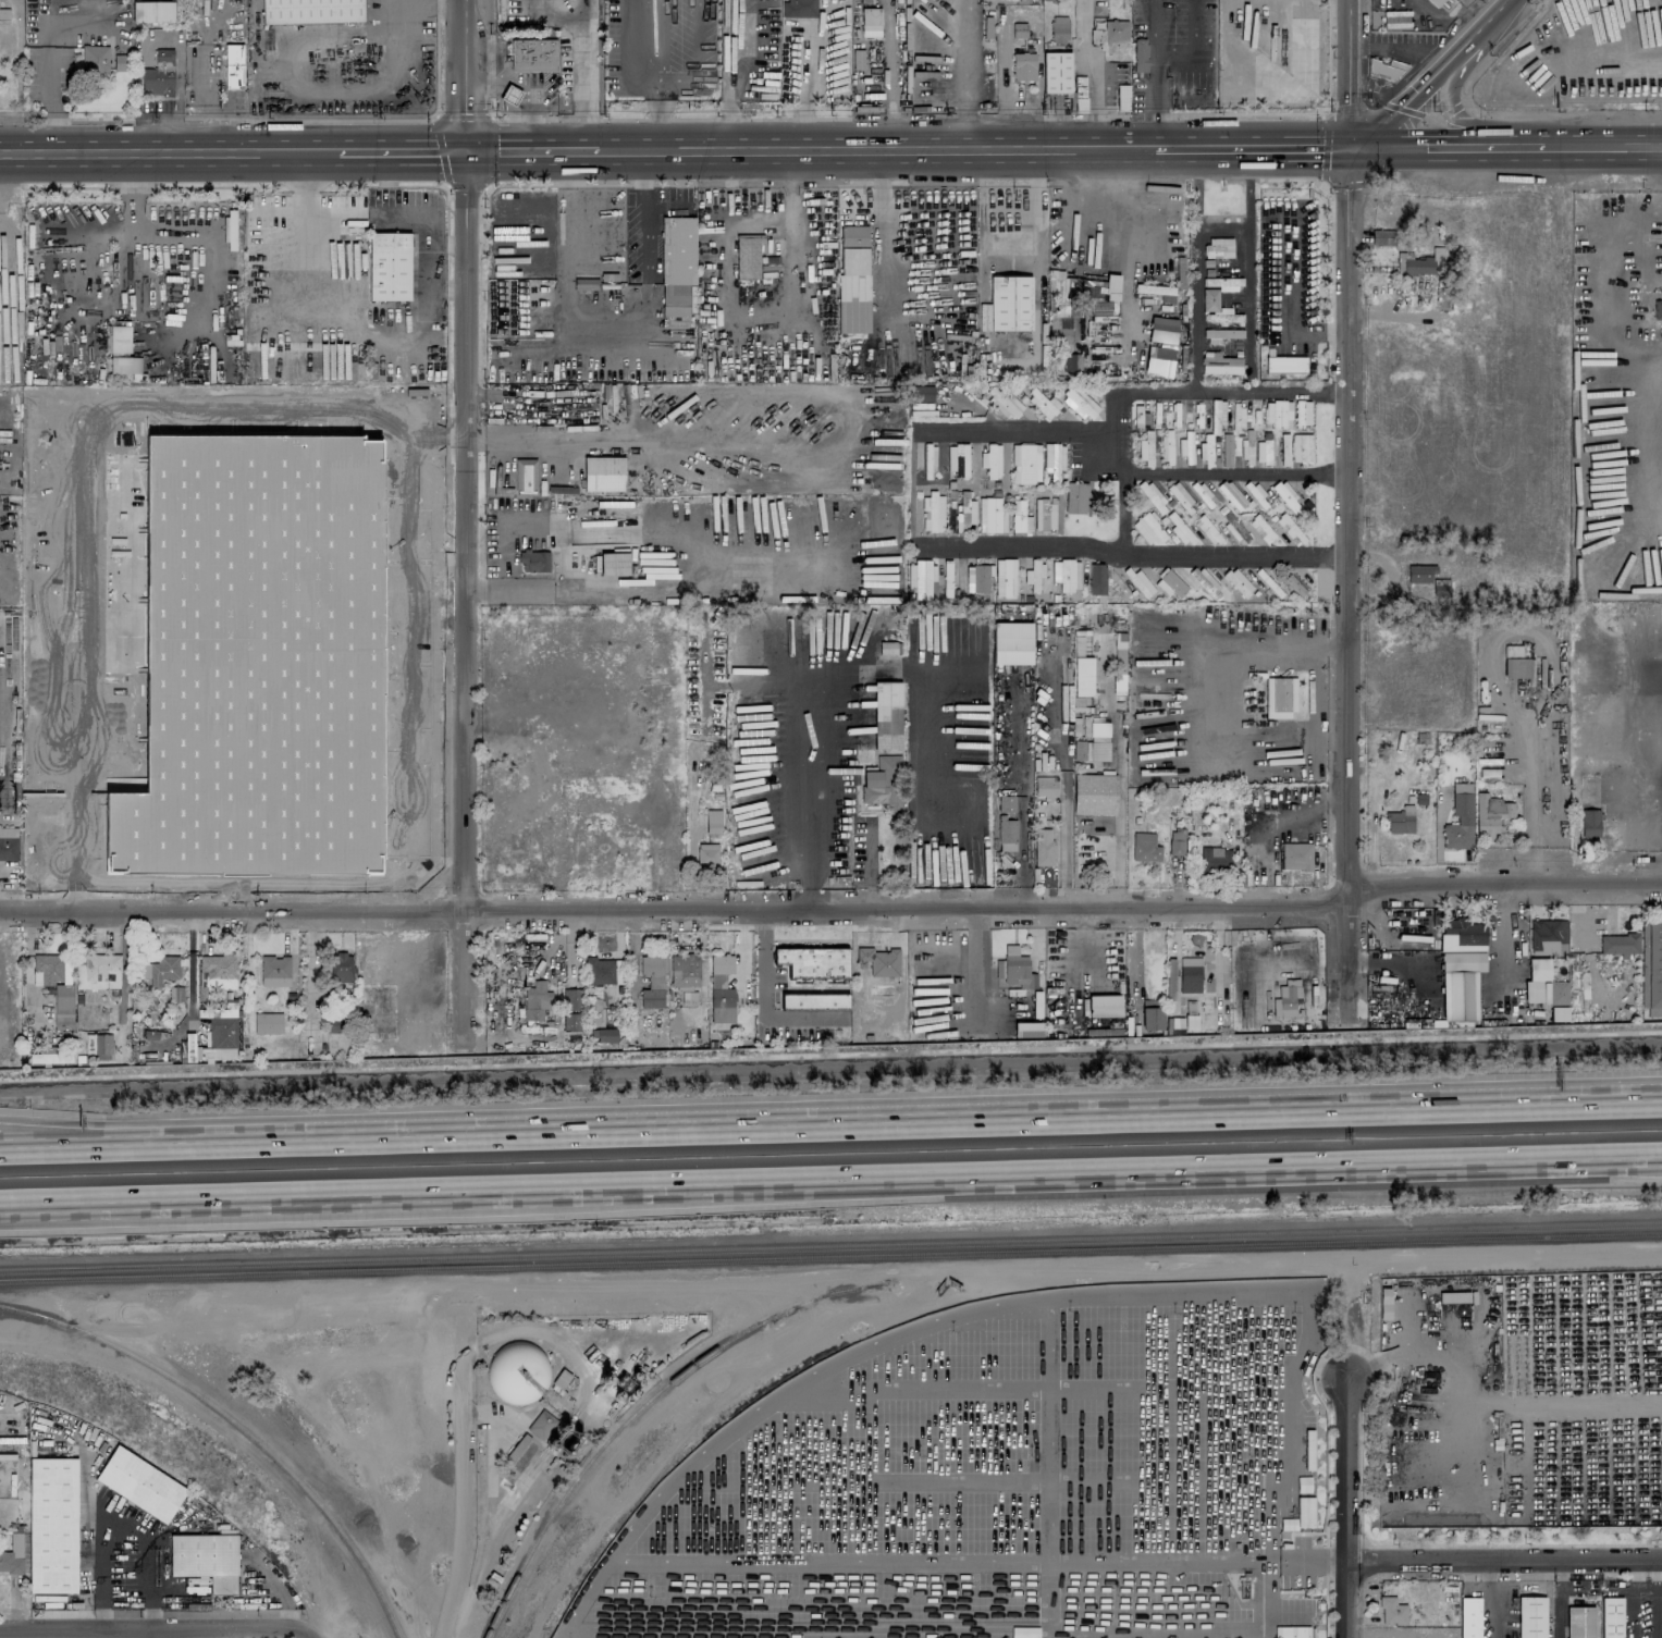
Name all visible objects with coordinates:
building: (1435, 2)
building: (800, 8)
building: (152, 11)
building: (310, 11)
road: (553, 11)
building: (3, 13)
building: (1395, 19)
building: (870, 22)
road: (1155, 26)
road: (1193, 26)
building: (1019, 29)
building: (1115, 30)
road: (1174, 53)
building: (532, 54)
building: (1140, 54)
building: (95, 59)
building: (121, 62)
building: (233, 65)
building: (1023, 66)
building: (1056, 72)
road: (739, 73)
road: (889, 73)
road: (1092, 73)
building: (159, 74)
road: (469, 74)
road: (583, 74)
road: (916, 74)
road: (1352, 74)
road: (1428, 74)
road: (49, 75)
road: (197, 79)
road: (526, 91)
road: (333, 93)
road: (804, 94)
building: (509, 95)
building: (1122, 98)
road: (1448, 99)
road: (1155, 100)
road: (209, 127)
road: (1602, 146)
road: (1417, 147)
road: (1512, 147)
road: (875, 148)
road: (1254, 148)
road: (403, 149)
road: (532, 149)
road: (168, 151)
road: (384, 169)
road: (300, 170)
road: (385, 199)
road: (882, 221)
road: (180, 232)
road: (1039, 237)
building: (1382, 237)
road: (96, 238)
building: (1218, 247)
building: (1421, 262)
building: (677, 264)
building: (389, 266)
road: (1194, 270)
road: (1251, 270)
building: (852, 279)
building: (1217, 291)
road: (434, 292)
road: (456, 292)
building: (1010, 303)
building: (758, 309)
building: (1658, 310)
building: (1222, 316)
road: (601, 332)
building: (1221, 334)
building: (119, 338)
road: (419, 340)
building: (1160, 346)
building: (1072, 362)
building: (1219, 364)
building: (124, 365)
building: (1284, 365)
road: (1223, 392)
building: (924, 393)
road: (1303, 393)
building: (1002, 401)
building: (1080, 402)
building: (1042, 403)
building: (1217, 412)
building: (1278, 414)
building: (1302, 414)
building: (398, 424)
road: (1013, 430)
road: (526, 442)
building: (1167, 447)
building: (1186, 447)
building: (1301, 447)
building: (1146, 448)
building: (1206, 449)
building: (1226, 449)
building: (1264, 449)
building: (1284, 449)
building: (957, 459)
building: (992, 460)
building: (1054, 460)
building: (1025, 463)
road: (1153, 472)
building: (603, 473)
building: (525, 476)
building: (254, 481)
road: (67, 485)
building: (414, 485)
building: (369, 493)
building: (1231, 494)
building: (1179, 495)
building: (1288, 498)
building: (933, 512)
building: (964, 513)
road: (1120, 513)
building: (1019, 516)
building: (1041, 522)
building: (1286, 526)
building: (1148, 529)
building: (1180, 529)
building: (1260, 529)
building: (418, 535)
road: (1134, 554)
building: (533, 561)
building: (613, 563)
building: (1034, 574)
building: (1066, 574)
building: (1419, 574)
building: (977, 577)
building: (1005, 577)
building: (920, 578)
building: (947, 578)
building: (1097, 579)
building: (1205, 581)
building: (1238, 581)
building: (1169, 583)
road: (567, 586)
road: (1352, 587)
building: (413, 588)
building: (371, 596)
road: (468, 596)
road: (396, 602)
building: (334, 631)
building: (390, 631)
building: (1012, 636)
building: (889, 648)
building: (1515, 666)
road: (1222, 698)
building: (1279, 698)
building: (887, 707)
road: (1645, 723)
building: (404, 724)
road: (433, 736)
building: (1092, 743)
building: (970, 765)
building: (883, 783)
building: (1045, 785)
building: (1094, 793)
building: (1006, 803)
road: (1535, 805)
building: (1490, 812)
road: (809, 817)
building: (1401, 820)
building: (1460, 820)
building: (713, 821)
building: (1589, 823)
building: (1007, 829)
road: (1118, 839)
road: (1066, 841)
building: (1175, 841)
building: (8, 843)
building: (1044, 847)
building: (1145, 847)
building: (108, 853)
building: (706, 855)
building: (1296, 857)
building: (1212, 860)
road: (869, 863)
road: (834, 906)
building: (1546, 936)
building: (1618, 944)
road: (195, 961)
building: (879, 961)
building: (813, 962)
building: (340, 966)
building: (1651, 966)
building: (1461, 968)
building: (1012, 969)
building: (50, 970)
building: (99, 970)
building: (161, 970)
building: (598, 970)
building: (684, 970)
building: (274, 971)
building: (217, 972)
building: (1190, 974)
building: (1535, 978)
building: (1170, 980)
building: (651, 981)
building: (721, 988)
building: (1578, 989)
road: (763, 996)
building: (593, 998)
building: (534, 999)
building: (813, 1000)
building: (1558, 1001)
building: (63, 1006)
building: (1104, 1006)
building: (570, 1008)
building: (222, 1012)
building: (1150, 1018)
building: (268, 1022)
building: (1179, 1024)
building: (1026, 1029)
building: (222, 1032)
building: (603, 1034)
building: (98, 1045)
building: (42, 1058)
road: (1048, 1120)
road: (107, 1131)
road: (324, 1140)
road: (107, 1147)
road: (1005, 1171)
road: (173, 1194)
road: (104, 1218)
railway: (830, 1247)
railway: (830, 1258)
building: (1453, 1296)
building: (1383, 1303)
road: (1301, 1351)
building: (517, 1372)
railway: (642, 1409)
railway: (239, 1425)
road: (467, 1479)
building: (139, 1483)
road: (1349, 1506)
building: (1301, 1515)
building: (52, 1525)
road: (118, 1525)
road: (1505, 1553)
building: (12, 1555)
building: (205, 1559)
road: (1489, 1566)
road: (1560, 1594)
road: (1632, 1594)
road: (1655, 1596)
road: (1491, 1609)
building: (1391, 1611)
building: (1469, 1617)
building: (1530, 1617)
building: (1612, 1617)
building: (1579, 1622)
road: (165, 1628)
road: (638, 1631)
building: (1293, 1631)
road: (138, 1634)

